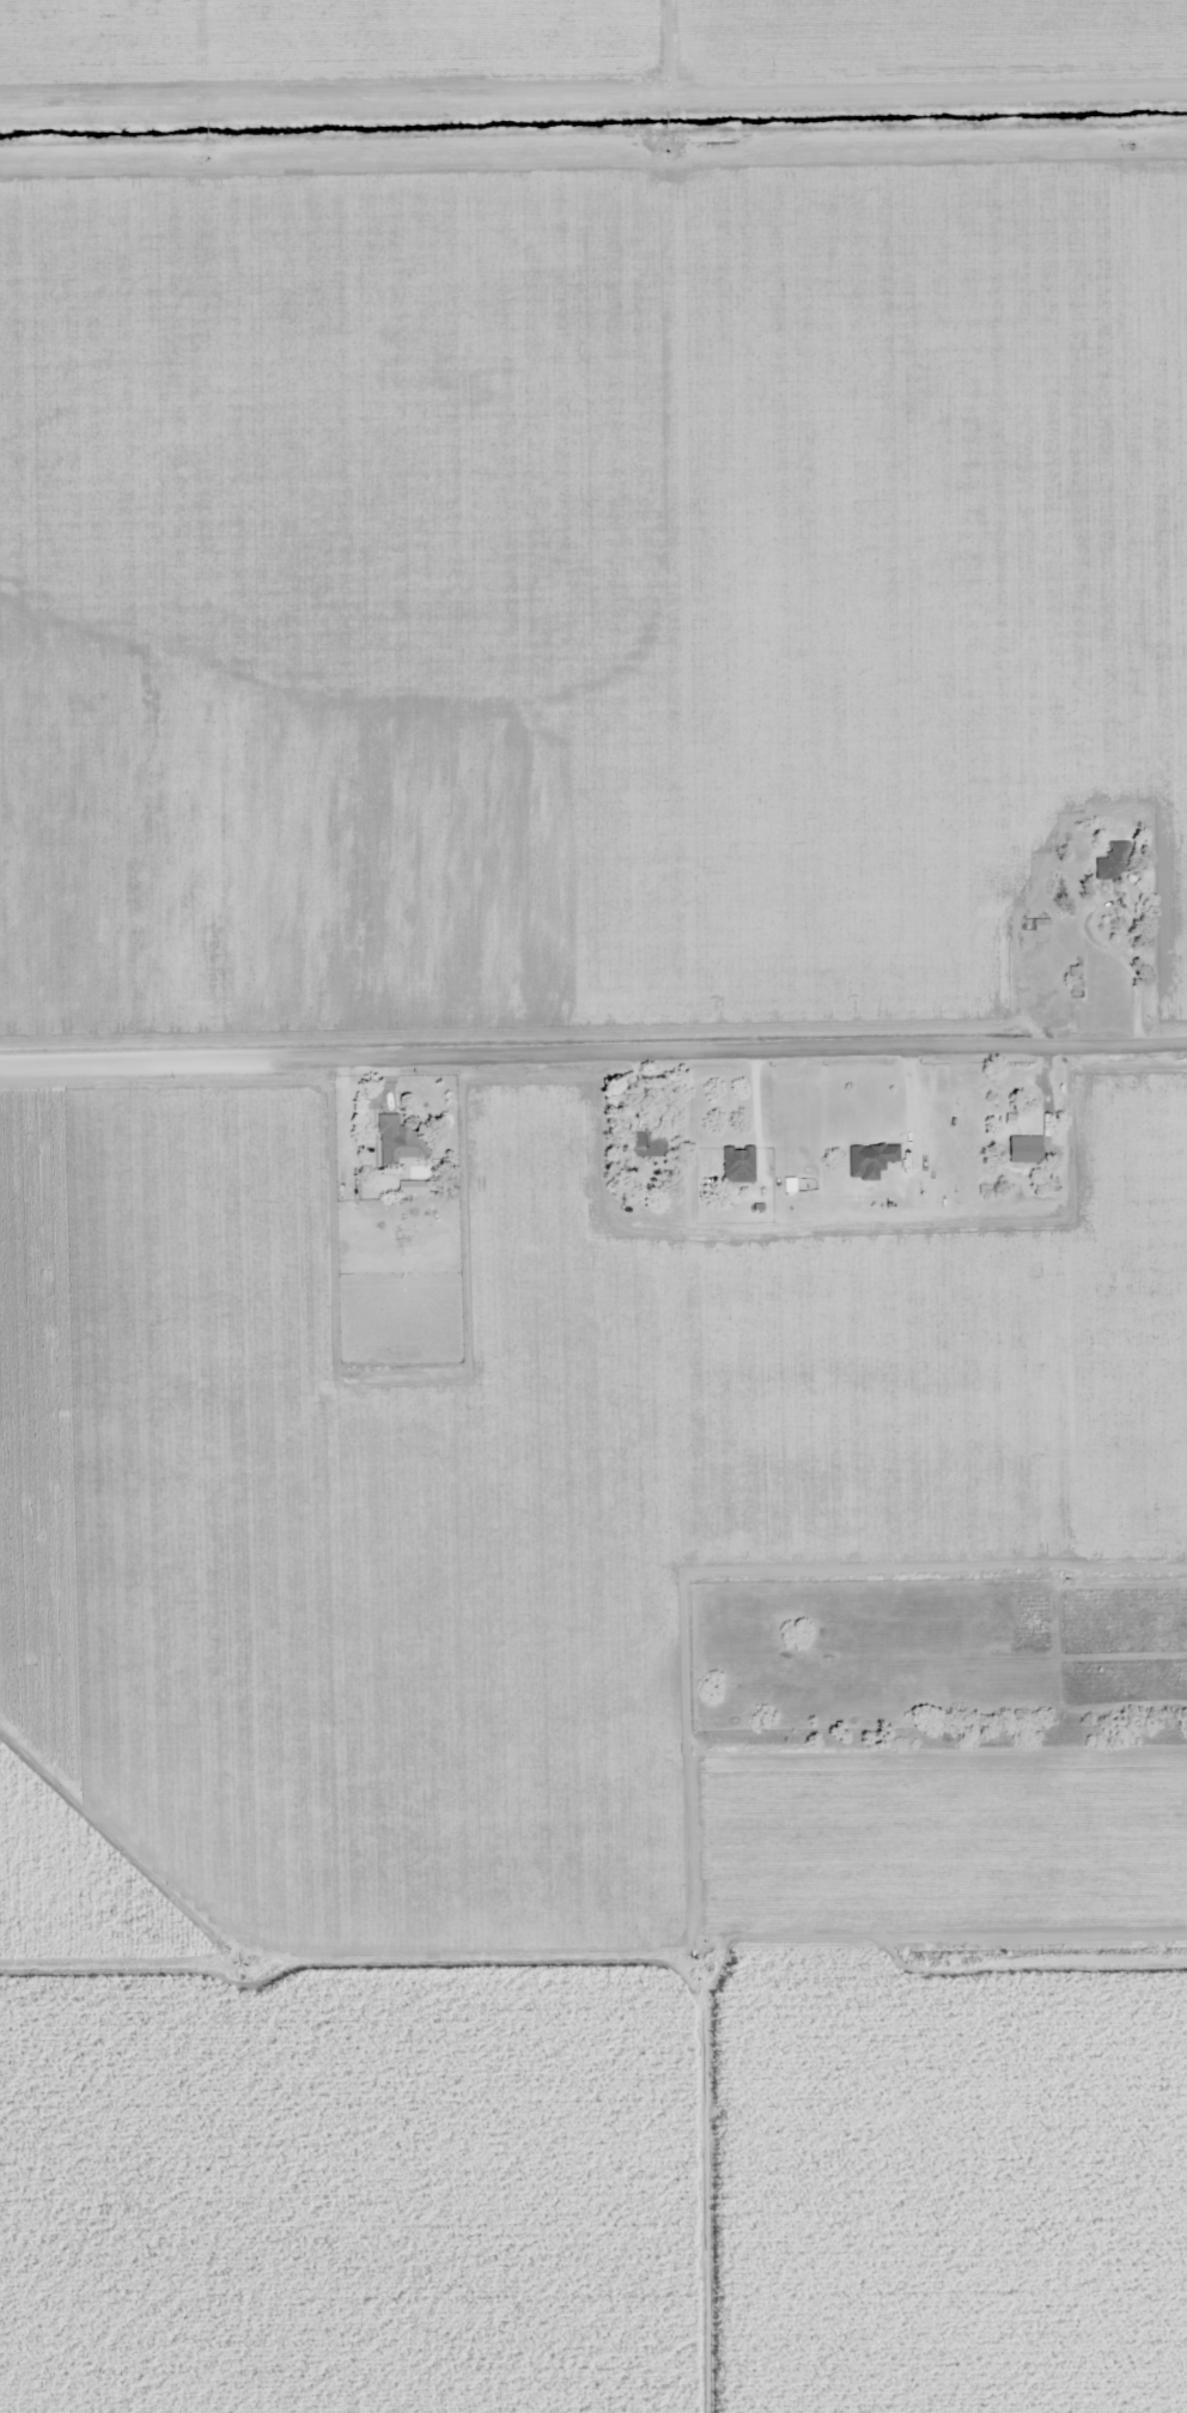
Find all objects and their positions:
building: (1115, 862)
building: (1041, 925)
building: (1076, 980)
road: (593, 1056)
building: (649, 1142)
building: (401, 1143)
building: (1027, 1150)
building: (871, 1161)
building: (738, 1165)

